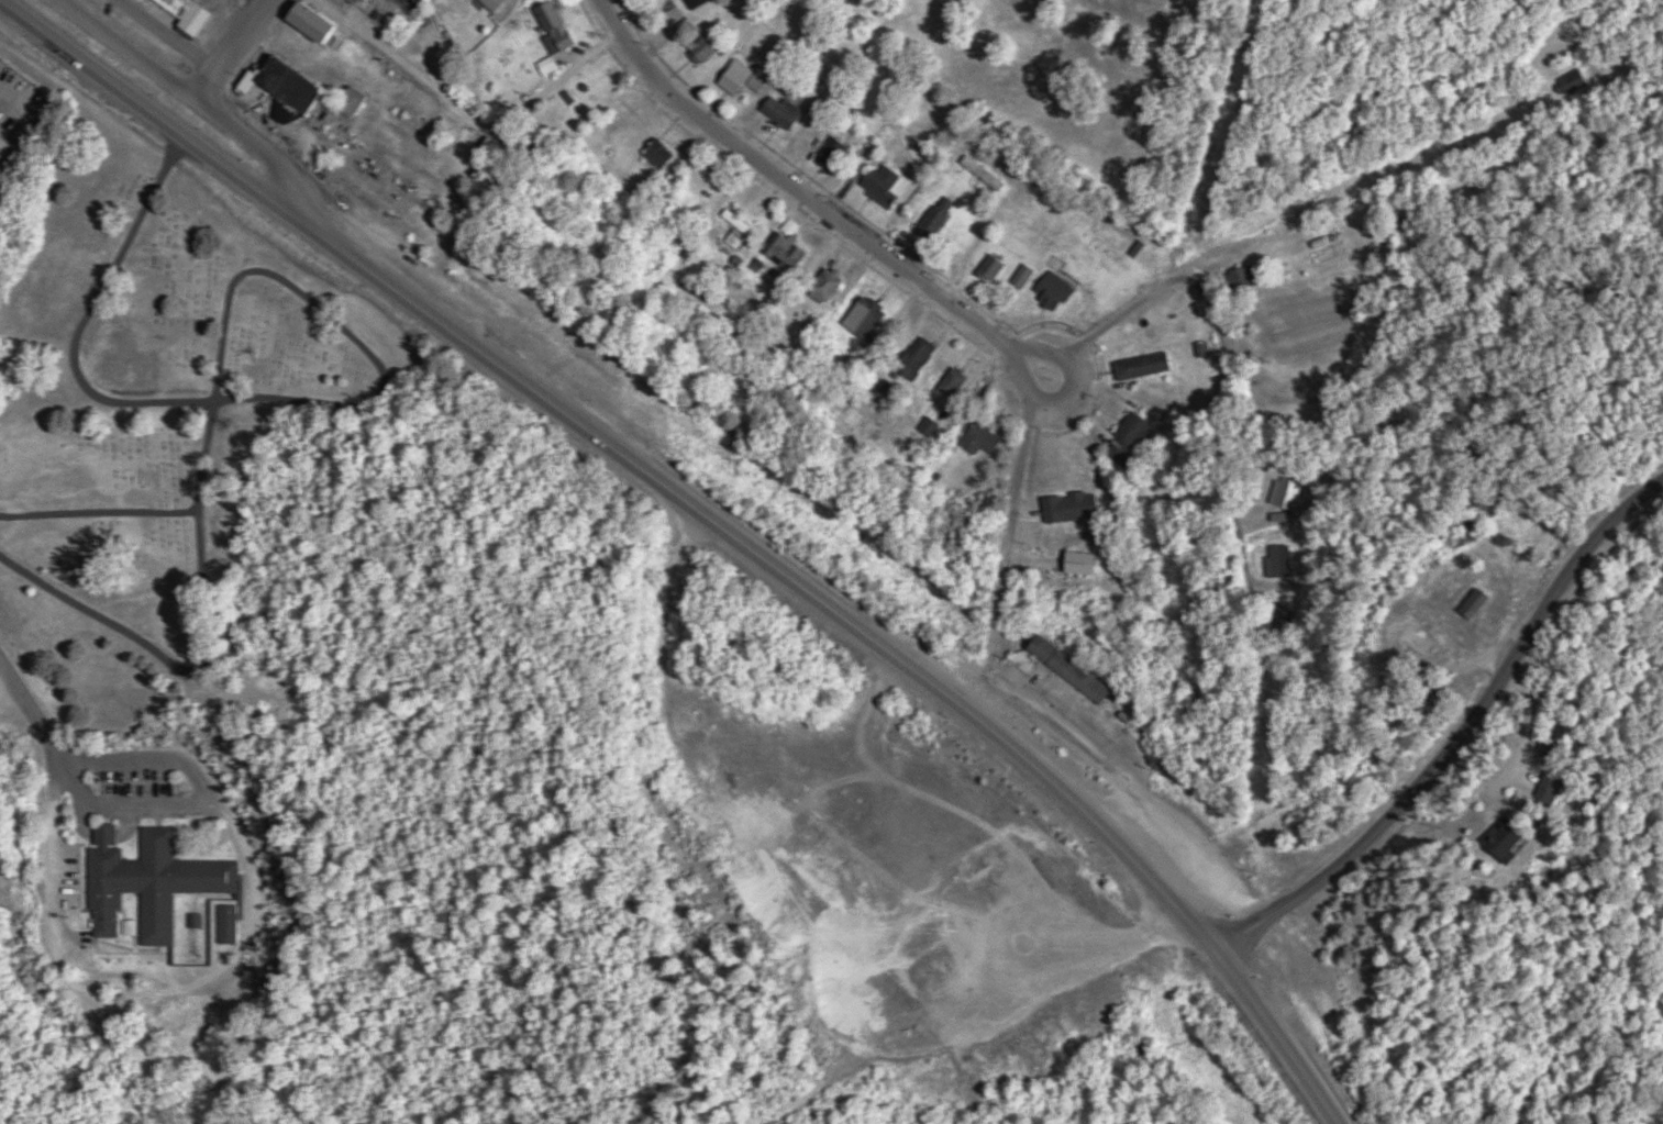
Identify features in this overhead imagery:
road: (262, 1)
building: (692, 3)
building: (491, 4)
building: (191, 13)
building: (314, 22)
road: (168, 35)
building: (552, 35)
road: (230, 48)
building: (703, 48)
building: (738, 79)
building: (1571, 82)
building: (286, 84)
building: (352, 102)
road: (466, 108)
road: (211, 110)
building: (781, 112)
building: (1, 125)
building: (830, 152)
building: (658, 155)
building: (982, 176)
building: (880, 181)
road: (814, 203)
building: (936, 215)
building: (785, 246)
building: (990, 267)
building: (1022, 276)
building: (1242, 279)
building: (825, 283)
building: (1052, 291)
building: (864, 316)
road: (1220, 343)
building: (916, 357)
building: (1142, 366)
road: (1022, 378)
building: (951, 381)
park: (159, 401)
building: (928, 426)
building: (1133, 430)
building: (983, 439)
building: (1119, 453)
building: (1290, 483)
road: (1011, 507)
building: (1071, 507)
road: (709, 521)
building: (1278, 561)
building: (1071, 669)
road: (31, 708)
road: (1461, 735)
road: (1094, 756)
road: (185, 764)
building: (1554, 784)
road: (1111, 801)
building: (109, 835)
building: (1510, 839)
building: (152, 884)
building: (224, 924)

